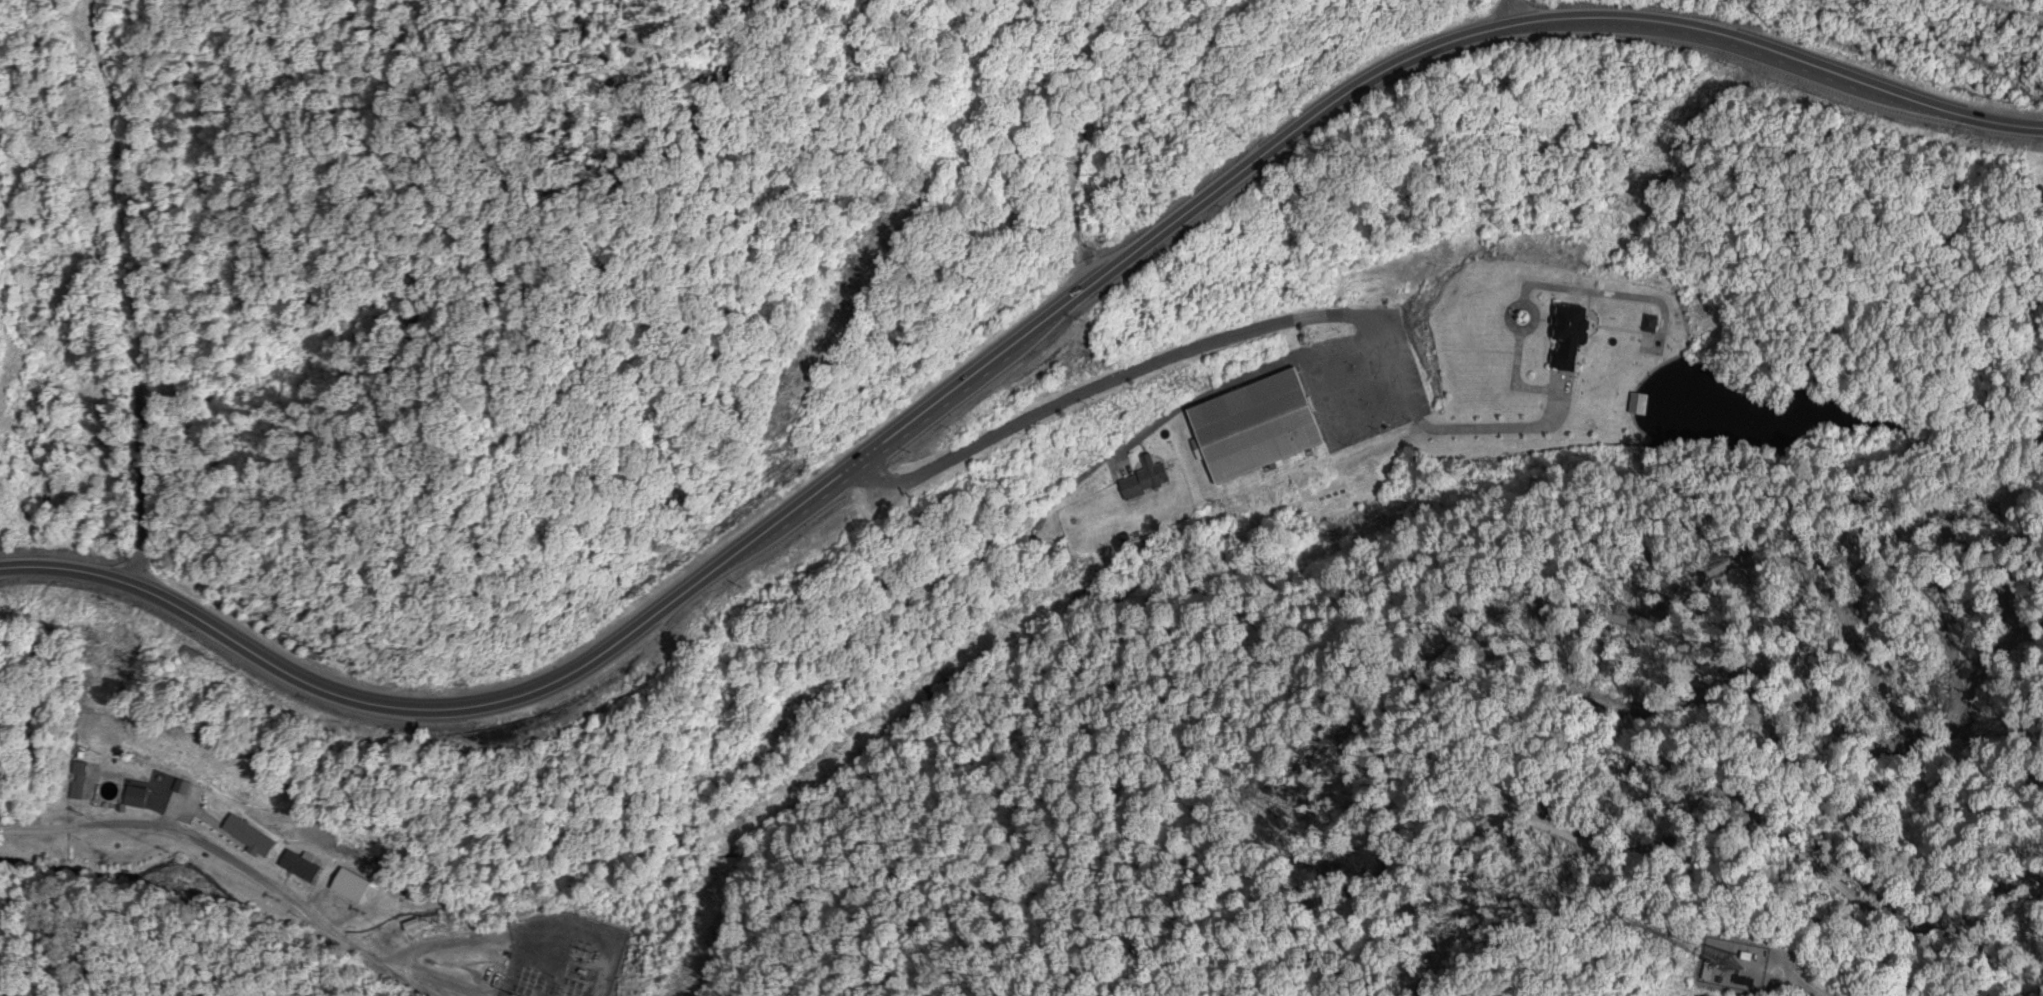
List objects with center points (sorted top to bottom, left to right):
road: (123, 293)
building: (1567, 337)
road: (1228, 342)
road: (1004, 351)
building: (1637, 405)
building: (1253, 427)
building: (1143, 480)
building: (77, 770)
building: (179, 788)
building: (132, 798)
building: (246, 837)
road: (218, 868)
building: (347, 885)
road: (442, 944)
road: (445, 981)
road: (1799, 984)
road: (2030, 990)

